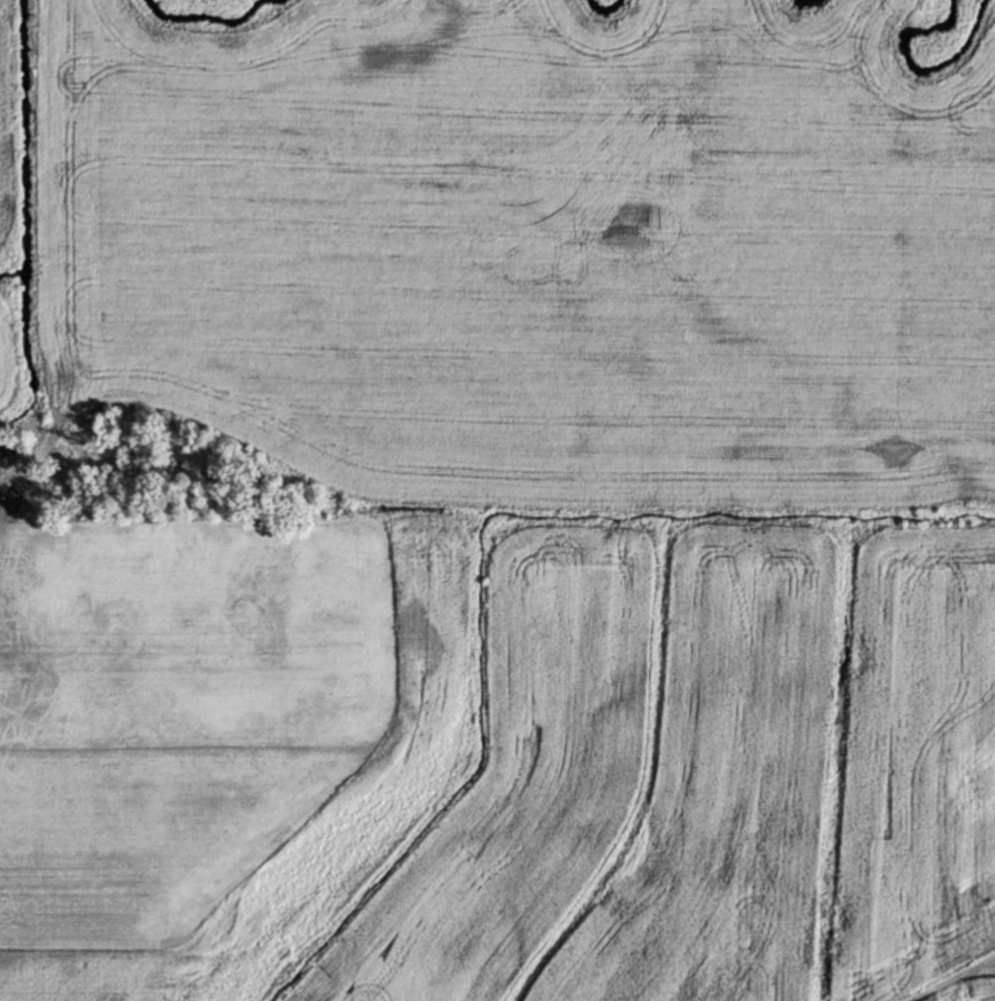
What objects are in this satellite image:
river: (618, 10)
river: (223, 16)
river: (929, 59)

